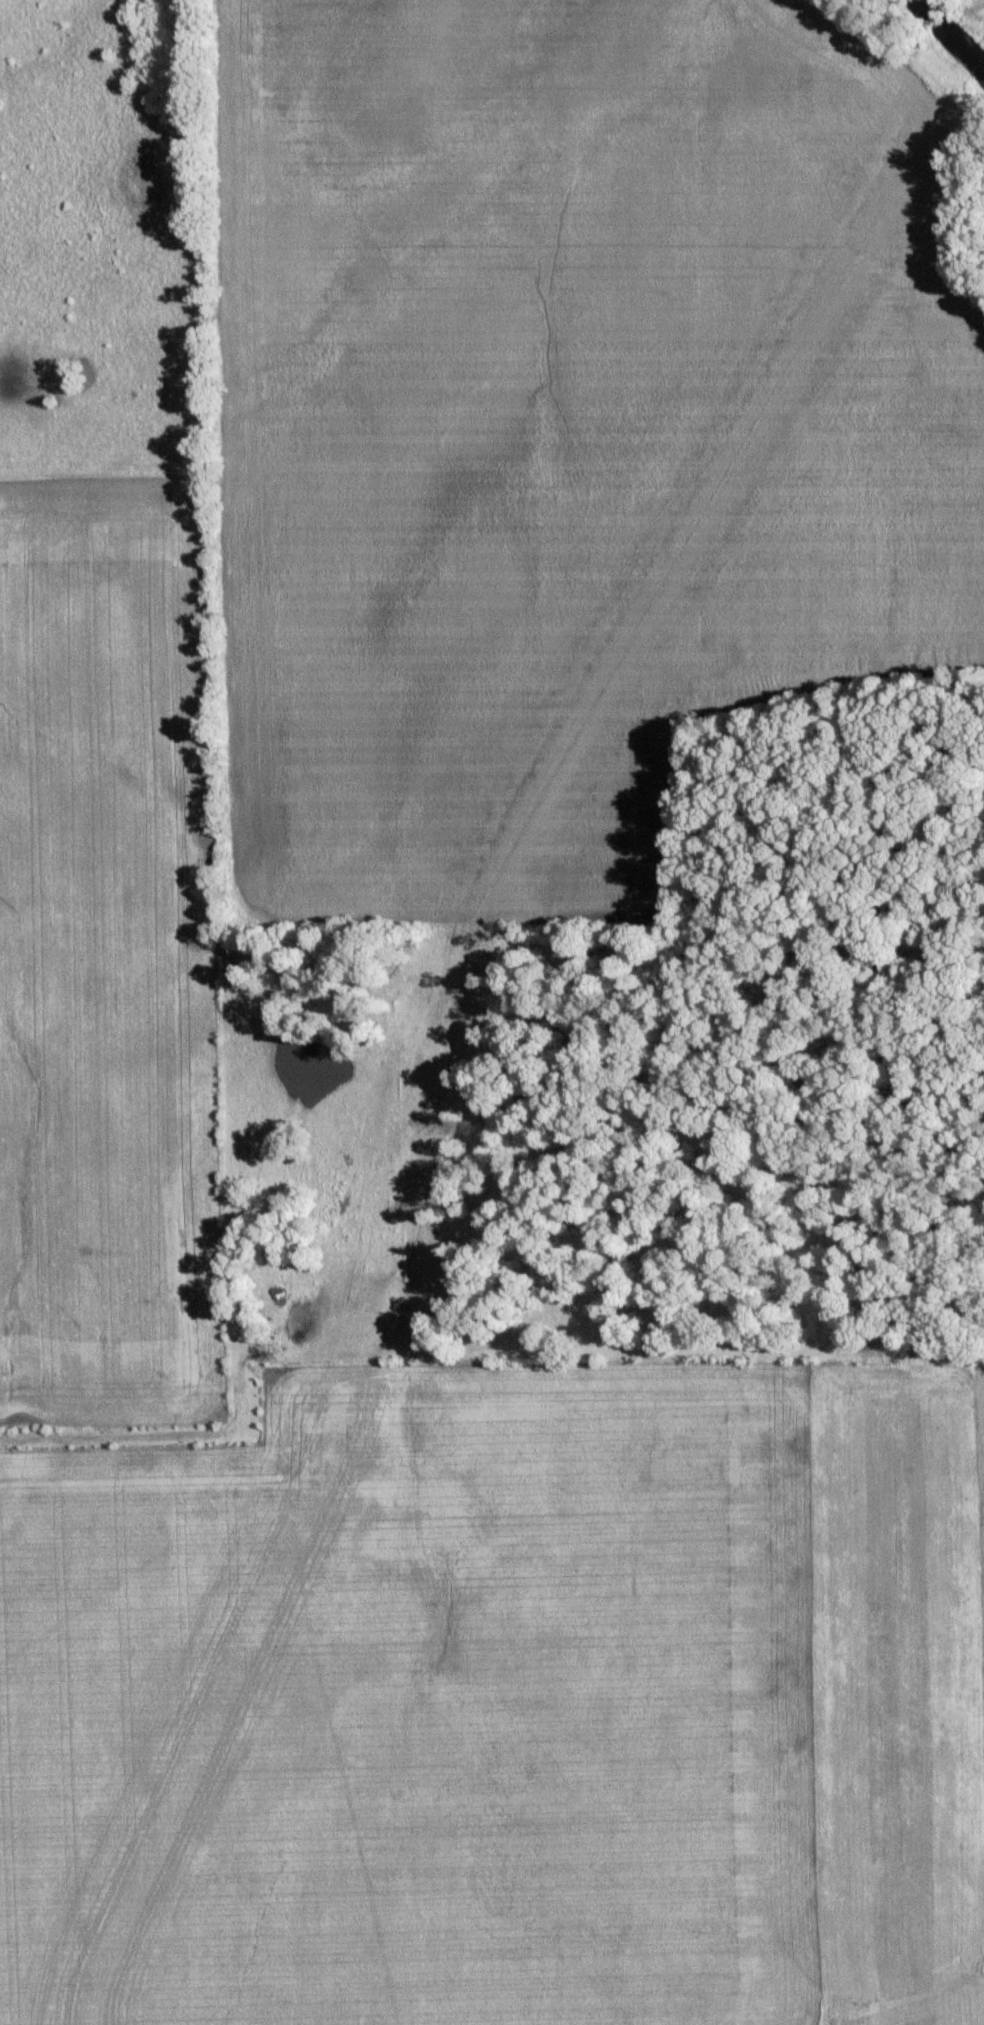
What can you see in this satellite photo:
river: (942, 37)

